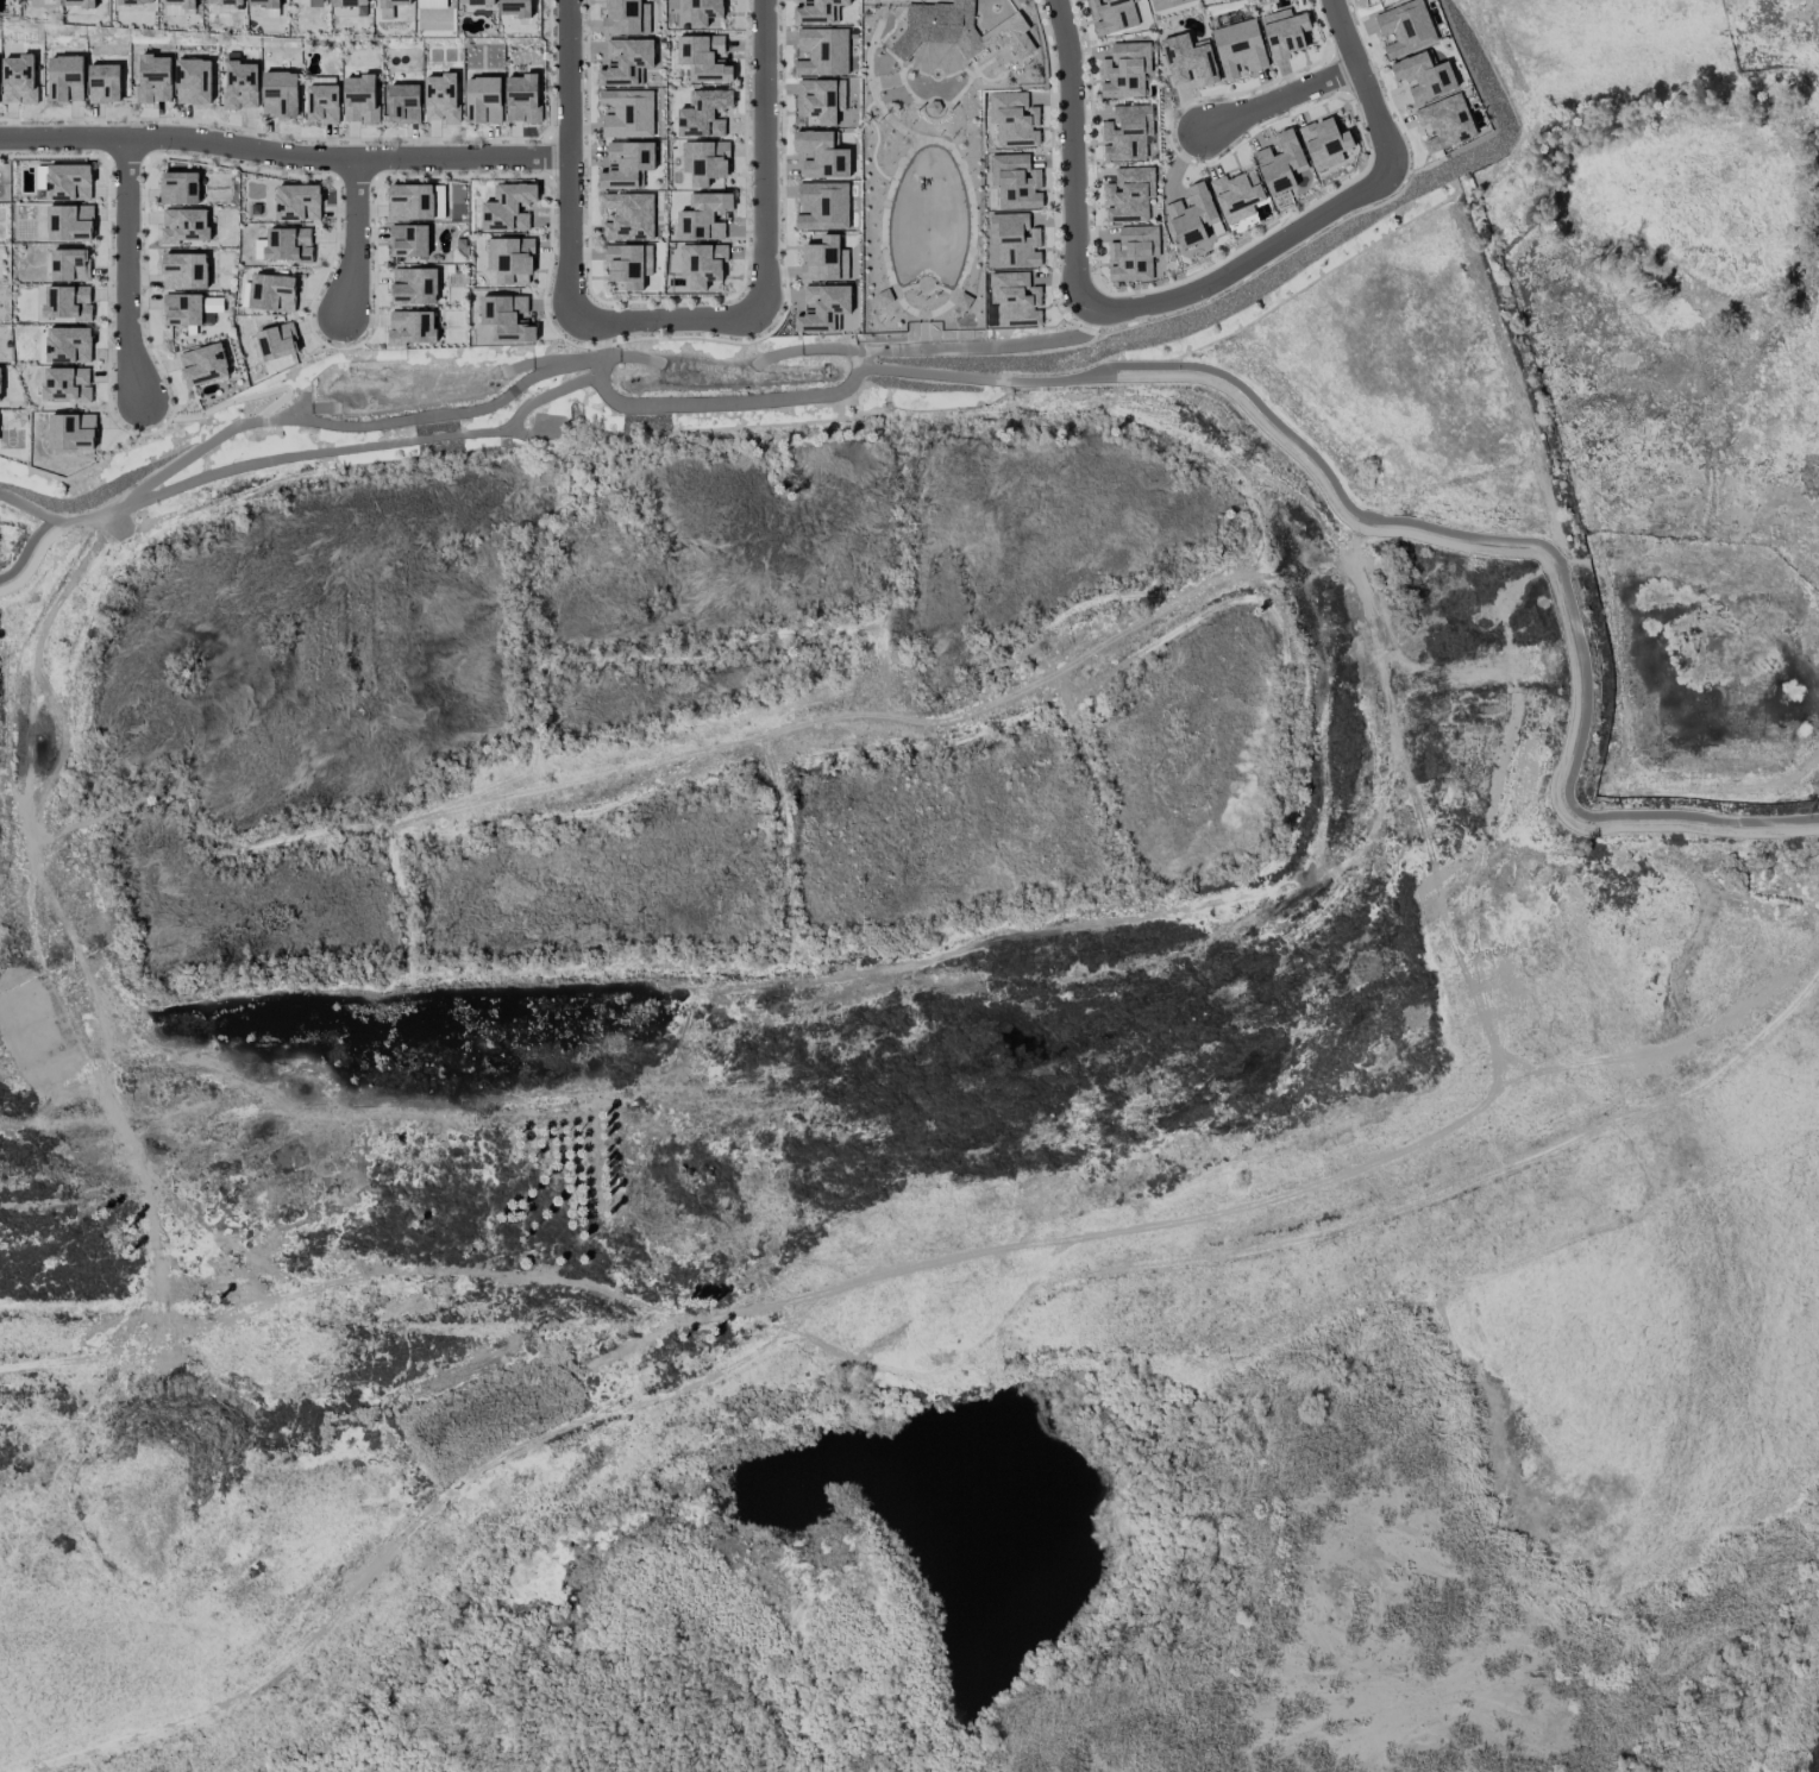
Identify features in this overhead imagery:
building: (134, 1)
building: (225, 1)
building: (181, 2)
building: (264, 2)
building: (350, 2)
building: (393, 2)
building: (476, 2)
building: (1160, 2)
building: (80, 4)
building: (318, 4)
building: (431, 4)
building: (515, 7)
building: (702, 11)
building: (816, 11)
building: (1112, 14)
building: (626, 18)
building: (959, 26)
building: (1405, 27)
building: (1284, 33)
building: (1238, 48)
building: (822, 51)
building: (704, 58)
building: (1188, 59)
building: (626, 62)
building: (1125, 70)
building: (1423, 76)
building: (153, 78)
building: (18, 80)
building: (64, 80)
road: (1361, 80)
building: (193, 81)
building: (104, 83)
building: (240, 84)
building: (280, 94)
road: (1281, 96)
building: (440, 98)
building: (522, 99)
building: (359, 100)
building: (482, 100)
building: (818, 101)
building: (322, 103)
building: (403, 103)
building: (704, 113)
building: (1014, 119)
building: (1445, 122)
building: (1128, 133)
building: (1324, 143)
road: (1071, 149)
road: (763, 153)
building: (822, 155)
road: (283, 158)
road: (569, 159)
building: (704, 161)
building: (1280, 163)
building: (626, 165)
building: (68, 182)
building: (1015, 182)
building: (178, 188)
building: (1129, 195)
building: (1237, 195)
building: (297, 202)
building: (410, 202)
building: (823, 206)
building: (508, 207)
building: (704, 215)
building: (1193, 215)
building: (628, 216)
building: (70, 224)
building: (184, 226)
road: (355, 233)
building: (408, 240)
building: (1015, 240)
building: (288, 245)
building: (1133, 253)
building: (510, 260)
building: (823, 260)
road: (1244, 262)
building: (702, 264)
building: (628, 265)
building: (184, 271)
road: (128, 275)
building: (414, 285)
building: (272, 293)
building: (1015, 300)
building: (67, 302)
building: (823, 308)
building: (182, 309)
building: (507, 319)
road: (669, 322)
building: (412, 327)
building: (277, 341)
building: (68, 345)
road: (835, 348)
road: (626, 357)
road: (537, 360)
building: (203, 364)
road: (987, 379)
building: (65, 384)
road: (833, 391)
building: (0, 394)
road: (234, 401)
road: (349, 426)
building: (71, 432)
road: (359, 446)
road: (24, 508)
road: (81, 520)
road: (26, 548)
road: (1553, 554)
road: (36, 664)

